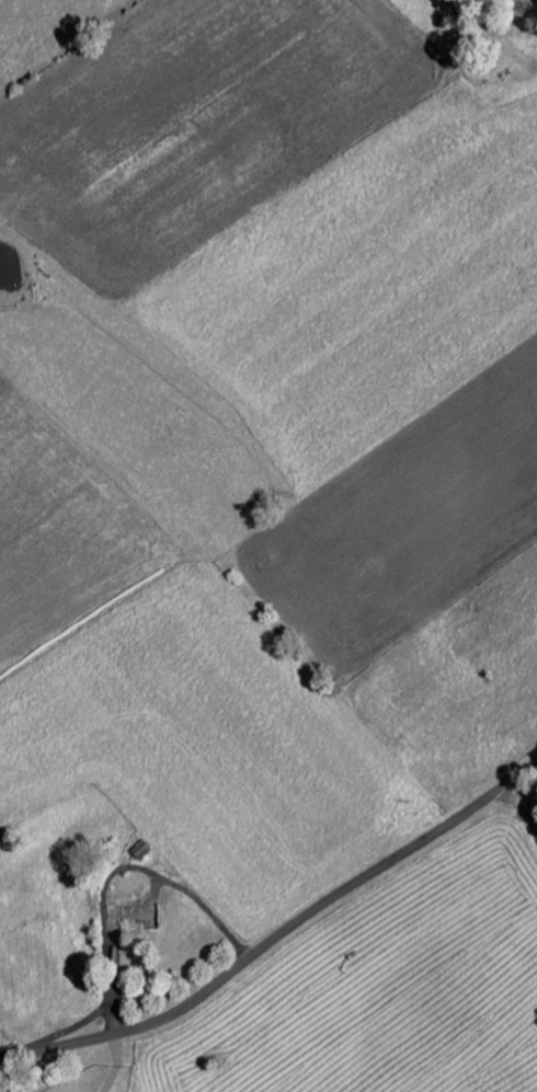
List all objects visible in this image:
road: (278, 933)

